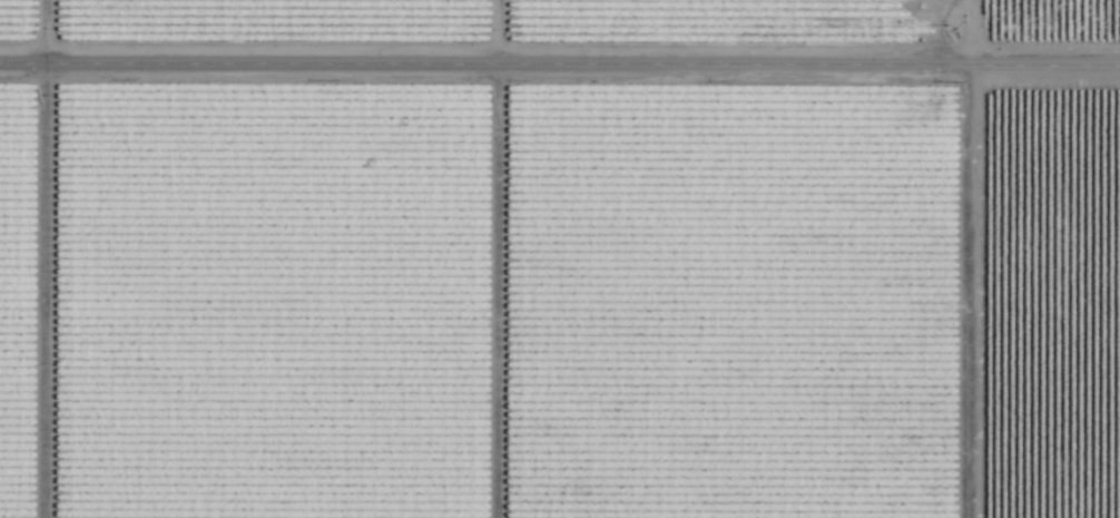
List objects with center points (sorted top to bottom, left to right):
road: (560, 68)
crop: (560, 258)

